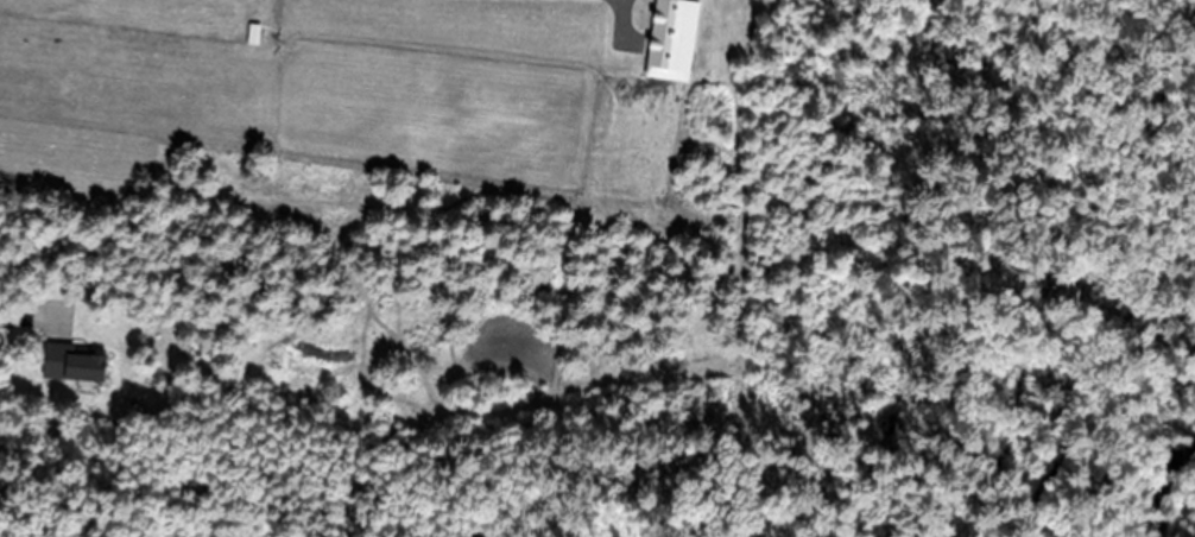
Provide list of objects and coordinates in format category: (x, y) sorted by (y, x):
building: (666, 82)
building: (76, 361)

